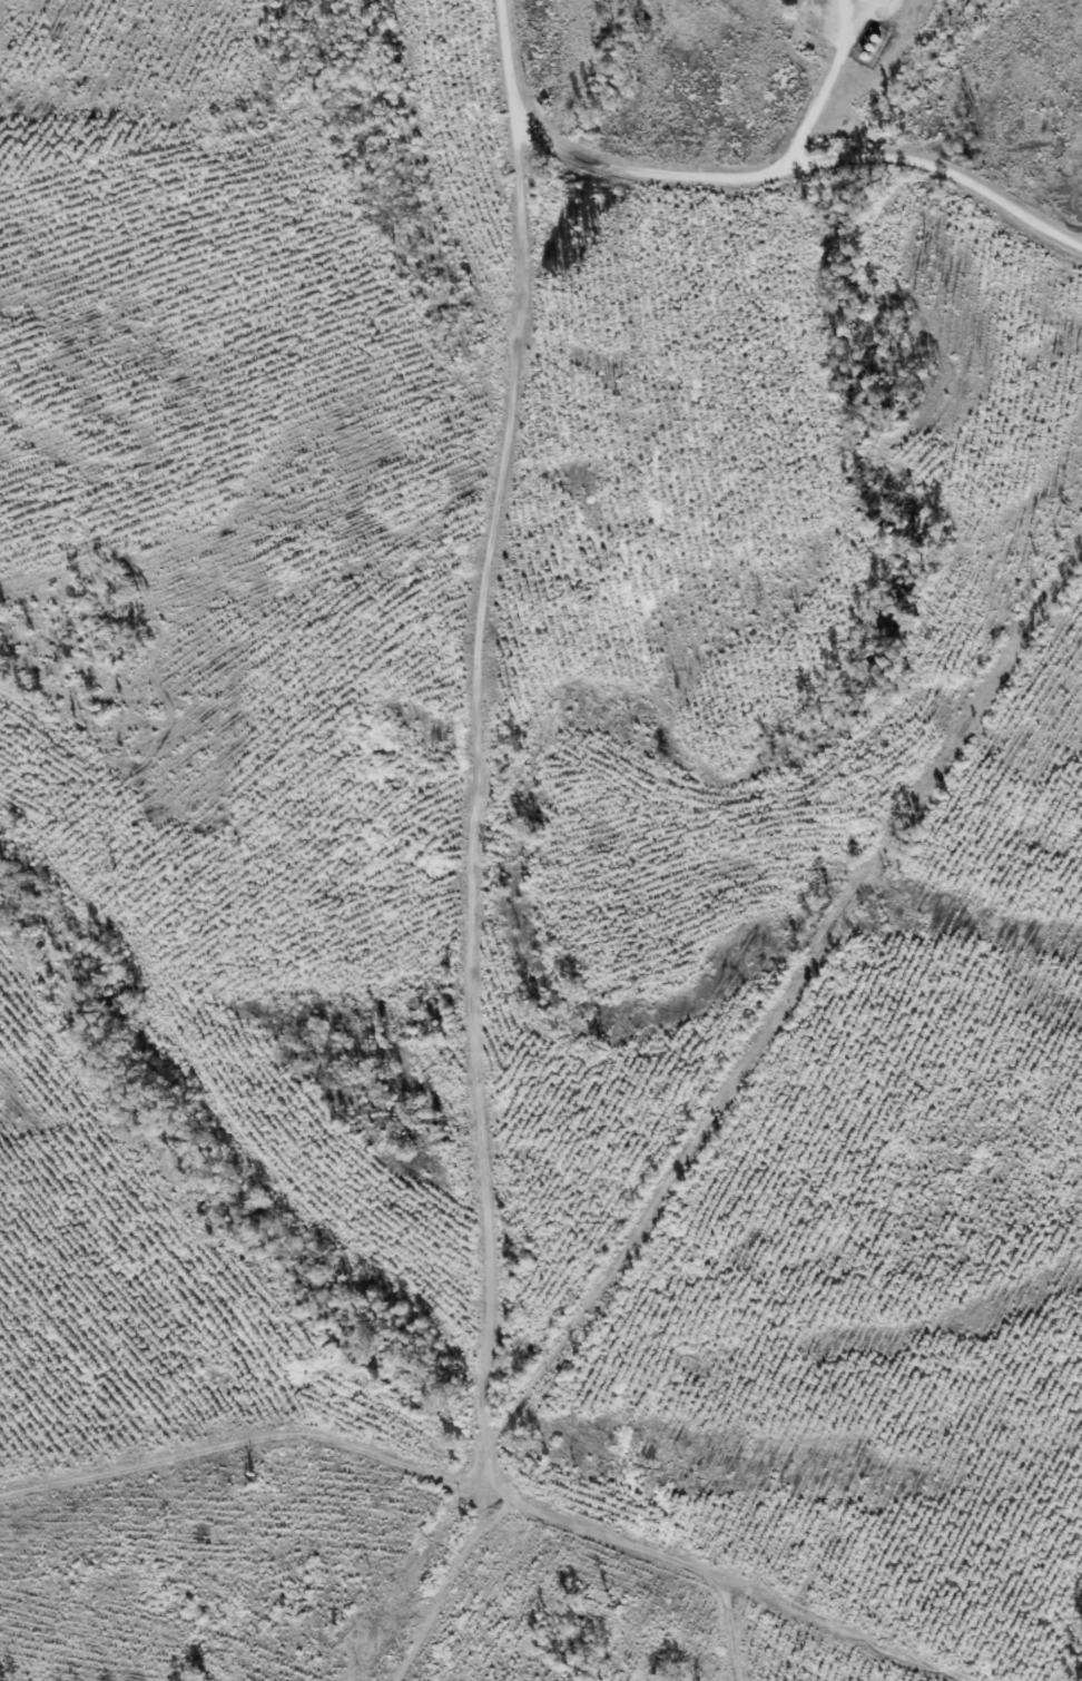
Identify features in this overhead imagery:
road: (488, 848)
road: (493, 1494)
road: (751, 1649)

